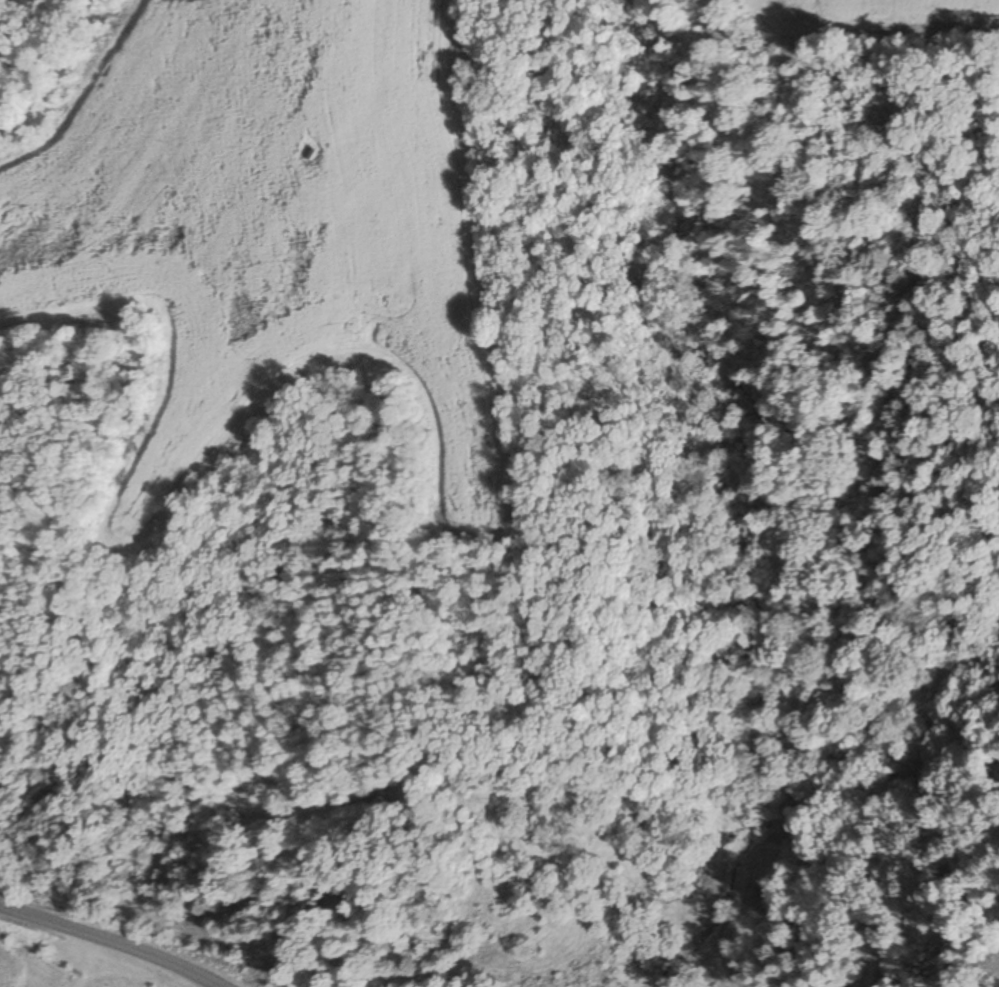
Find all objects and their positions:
road: (111, 941)

